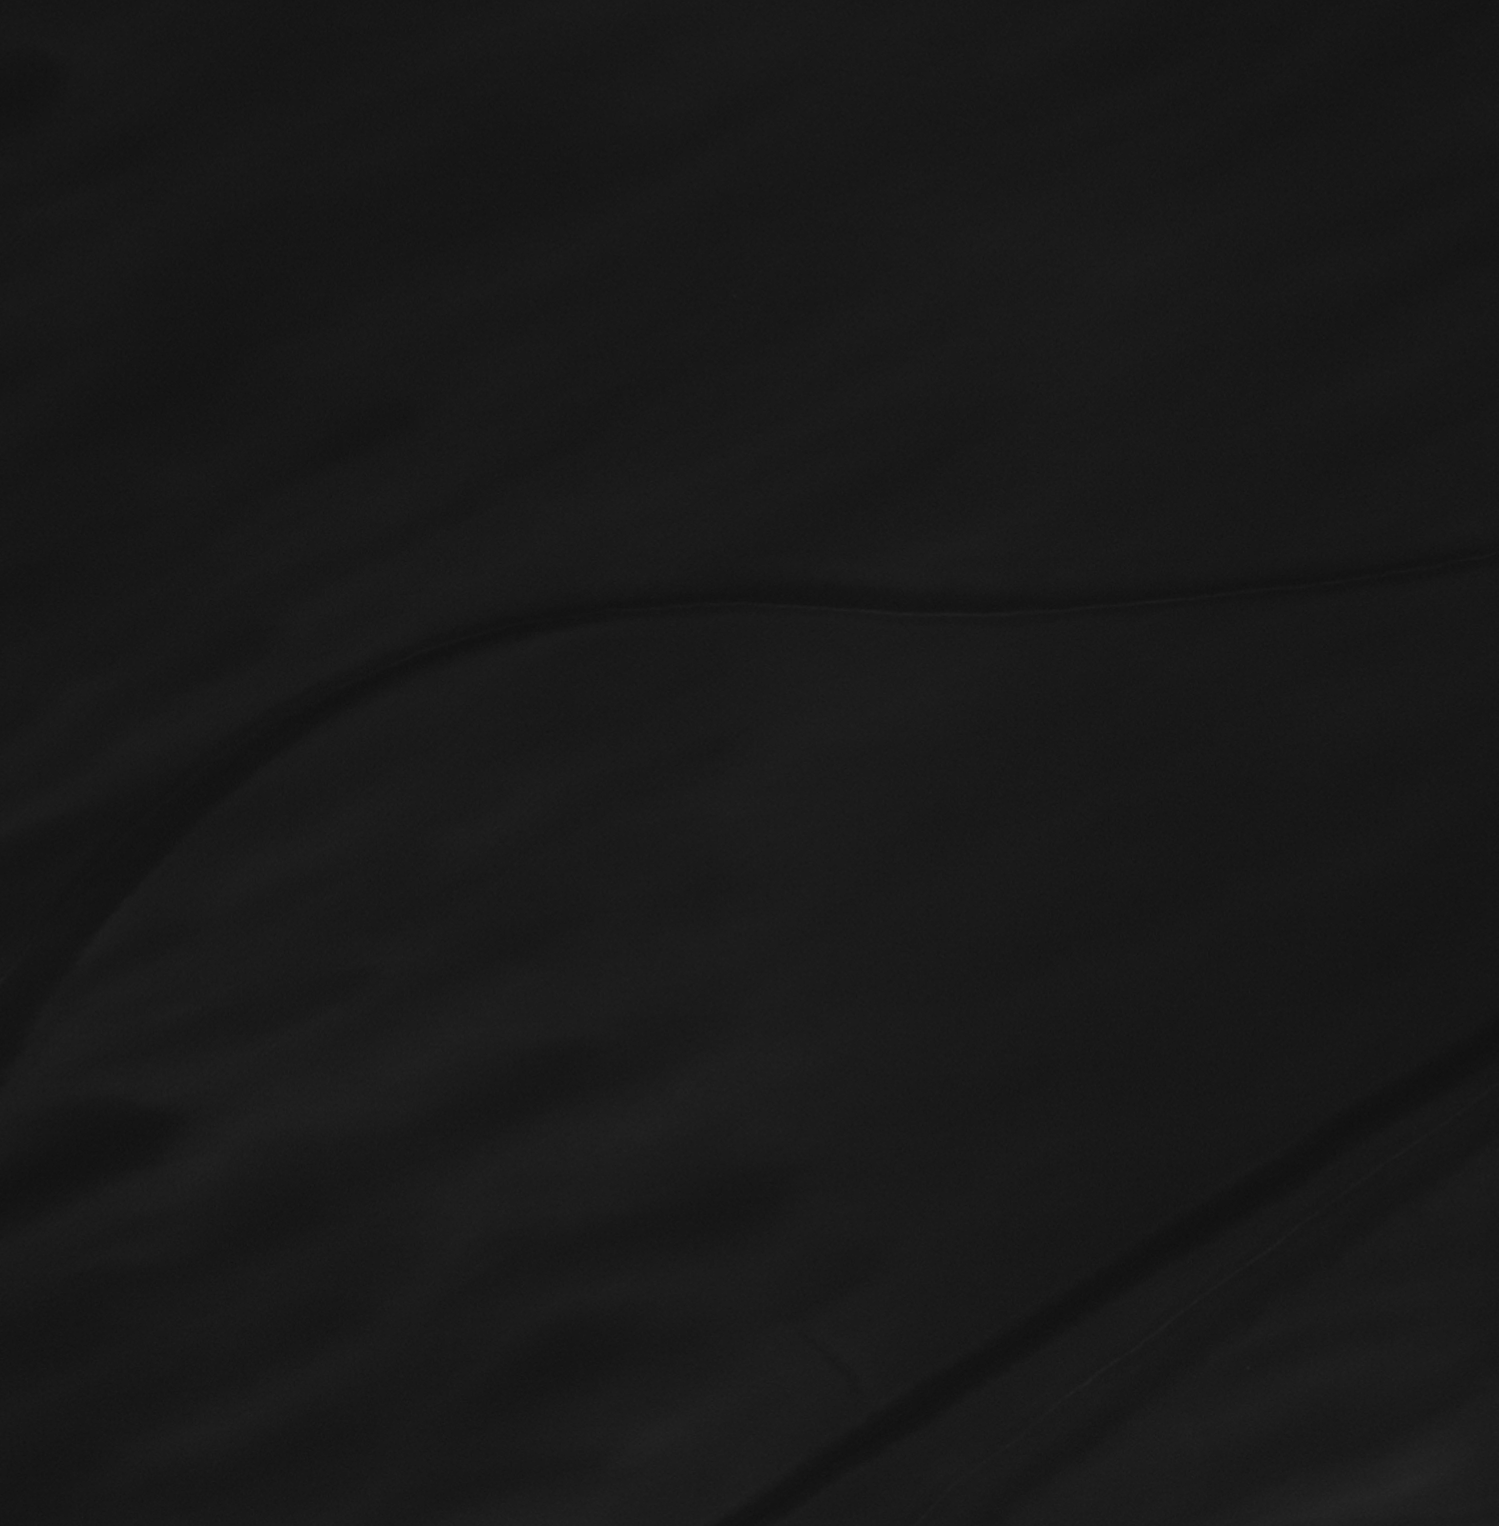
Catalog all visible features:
river: (1449, 1493)

